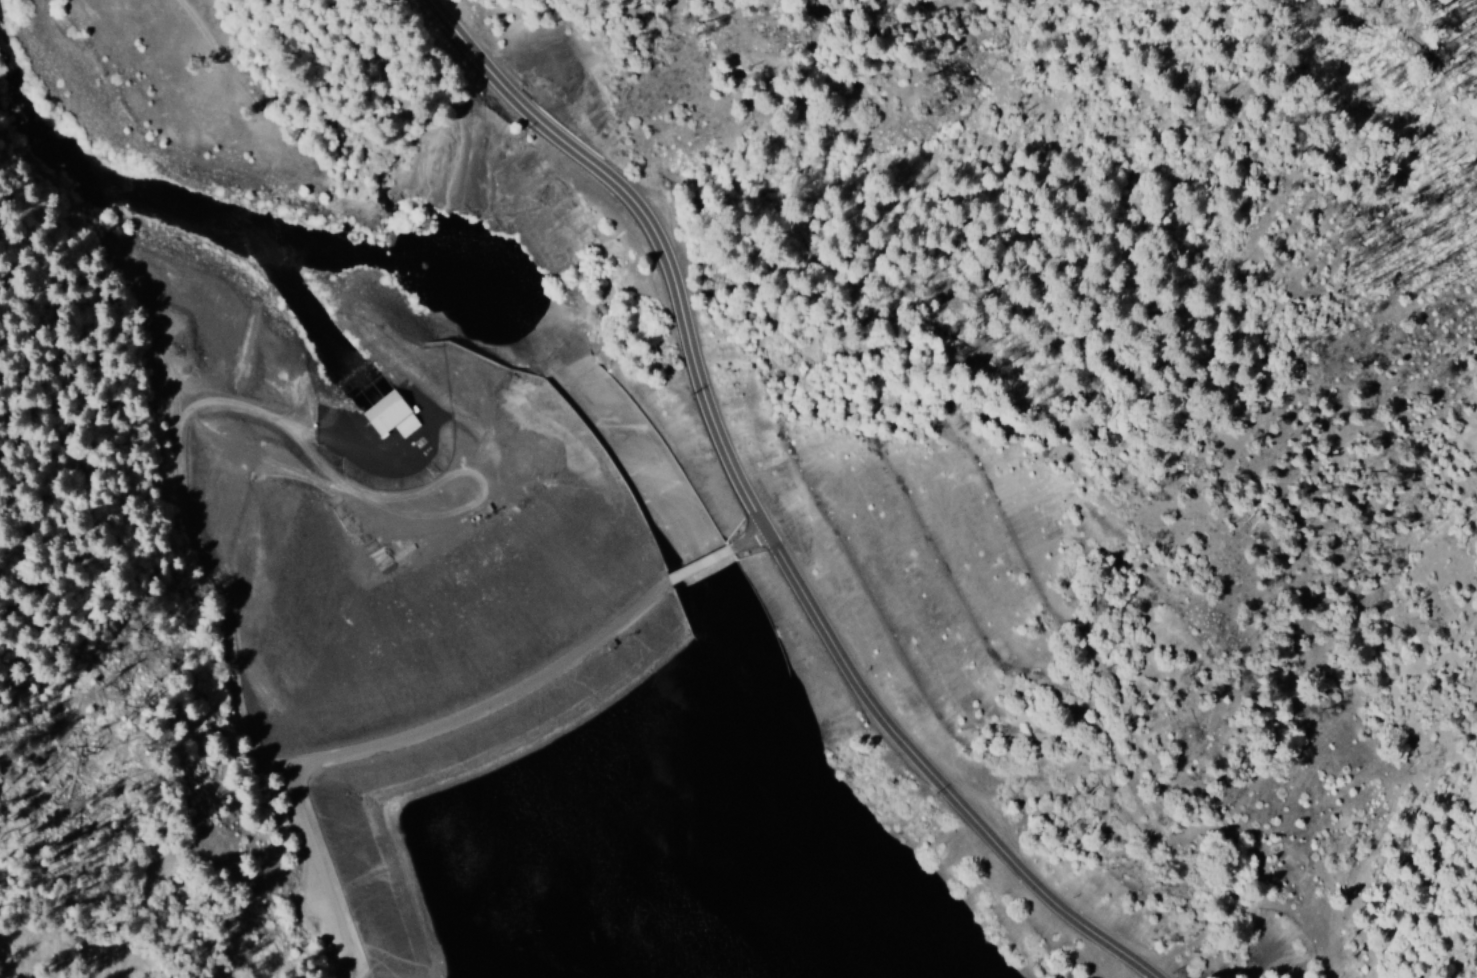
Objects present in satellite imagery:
river: (13, 50)
river: (202, 205)
river: (432, 266)
river: (469, 270)
river: (510, 283)
river: (542, 300)
building: (392, 416)
river: (634, 421)
road: (176, 458)
road: (758, 516)
road: (760, 539)
river: (712, 568)
road: (700, 574)
dam: (457, 614)
road: (473, 707)
river: (739, 708)
road: (315, 879)
river: (825, 896)

